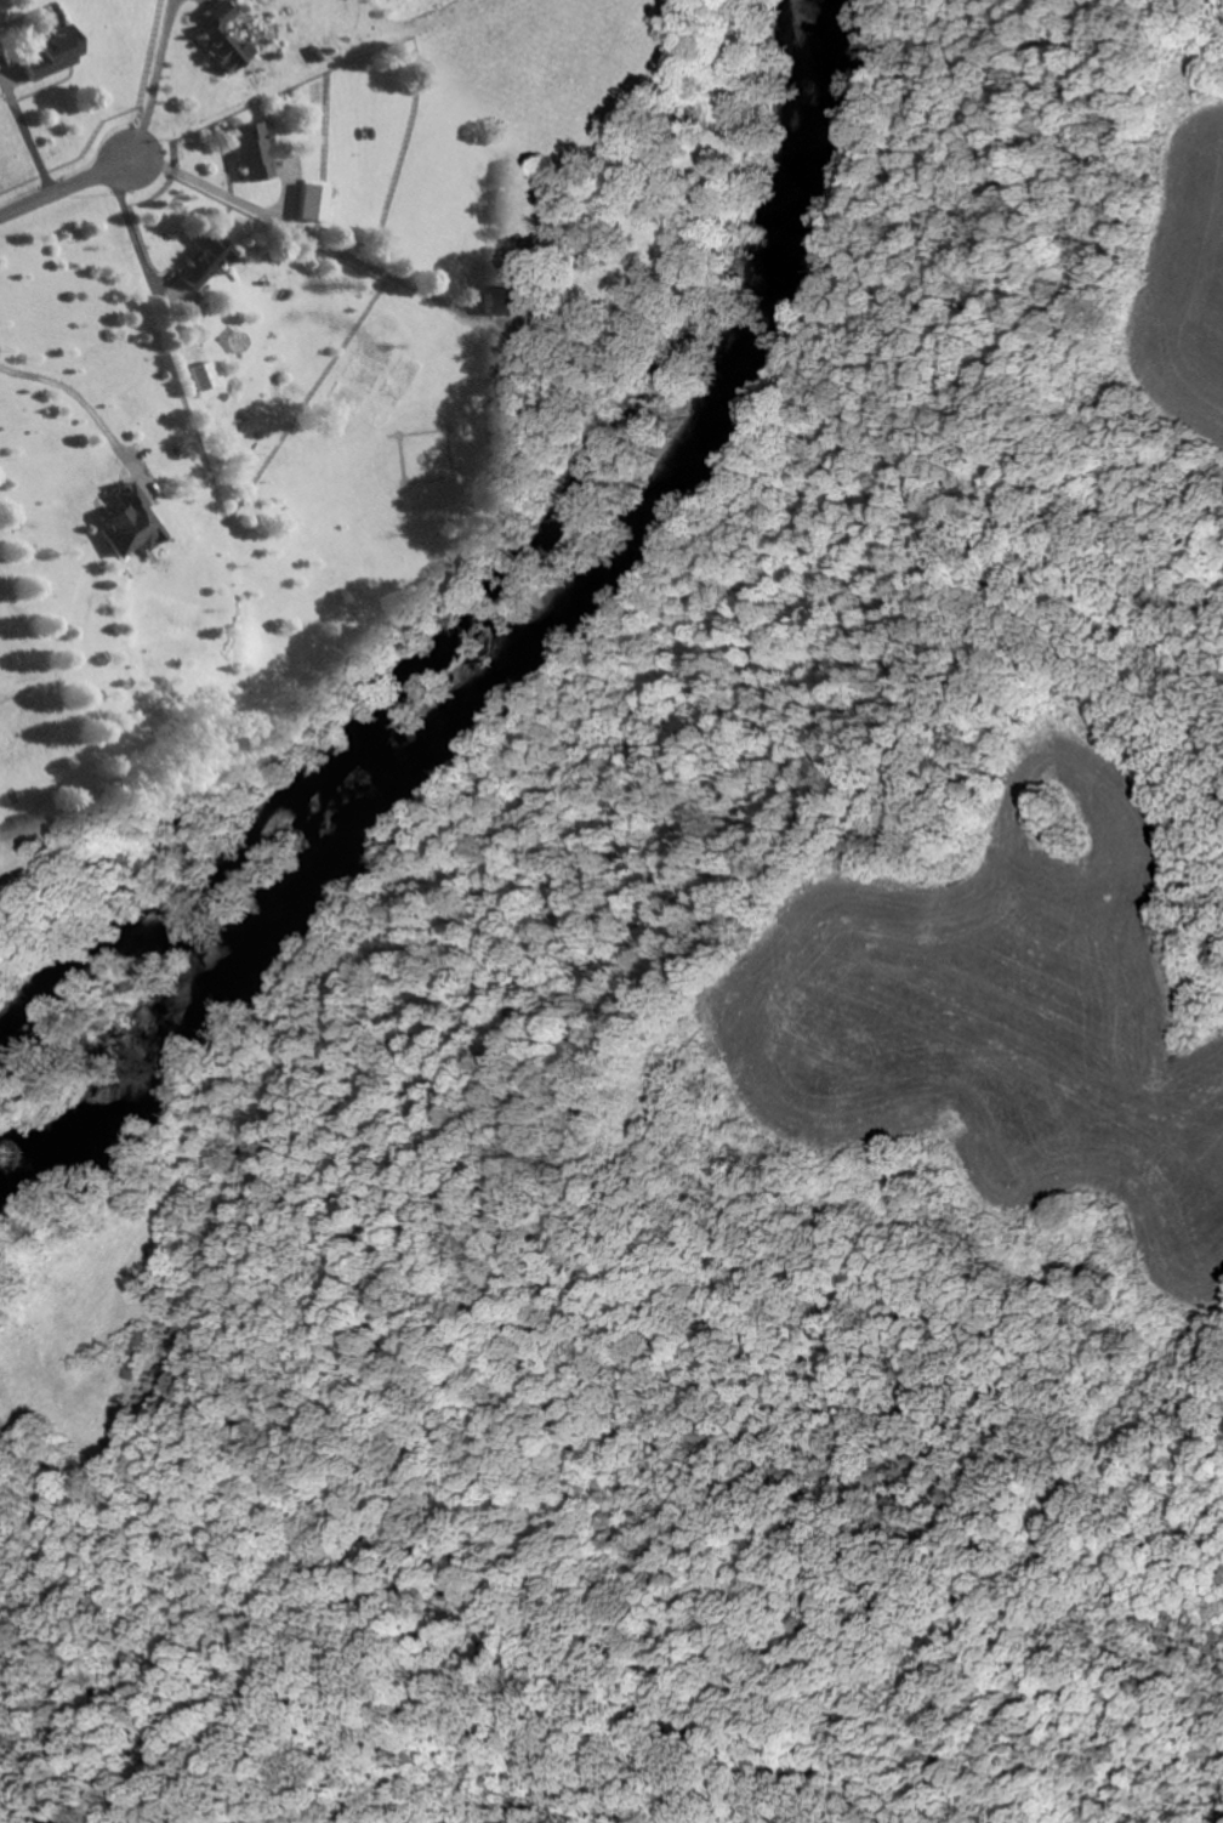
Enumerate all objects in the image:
building: (224, 41)
building: (1, 52)
building: (53, 57)
road: (155, 80)
building: (254, 154)
road: (74, 191)
road: (214, 191)
building: (204, 260)
building: (501, 301)
building: (201, 377)
road: (75, 398)
building: (126, 526)
river: (524, 655)

